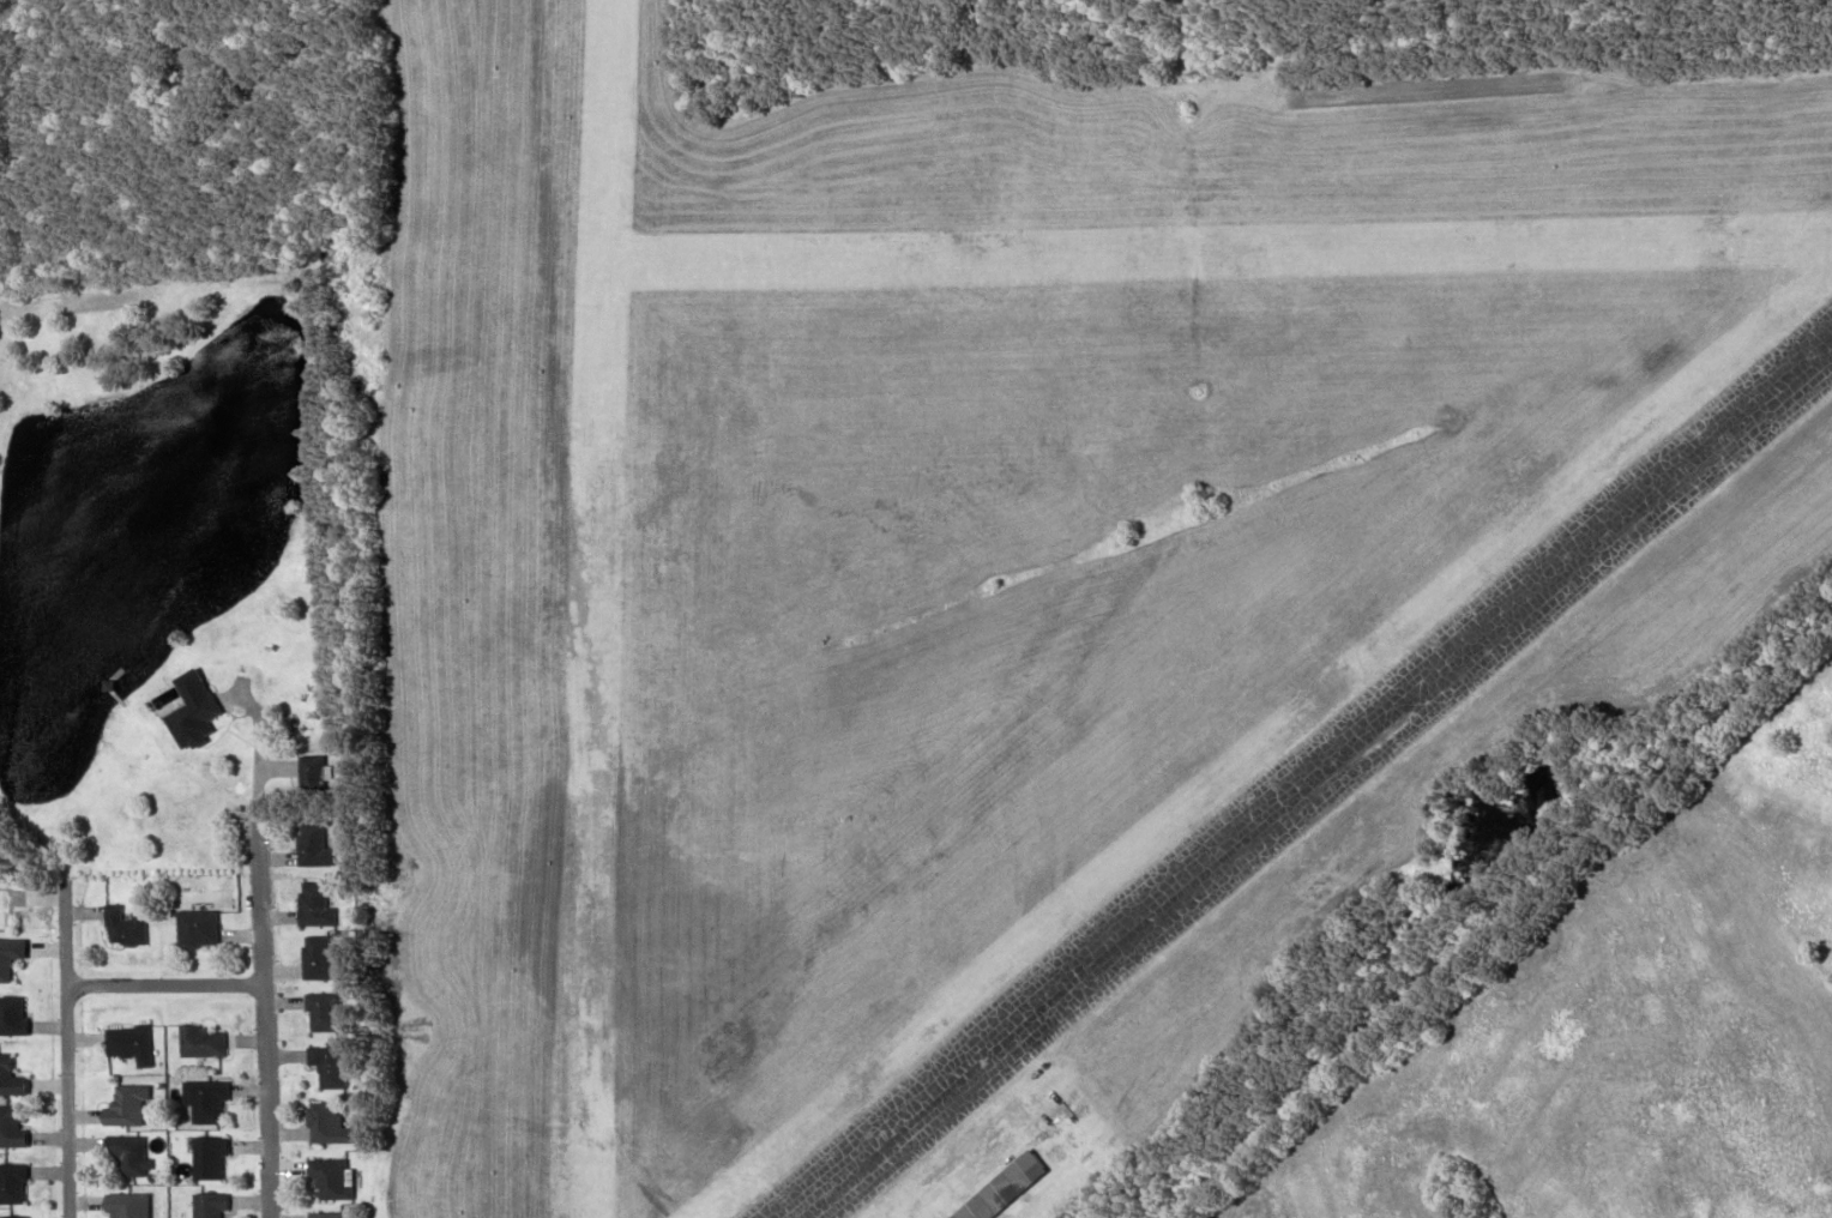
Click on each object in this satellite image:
airport taxiway: (1218, 248)
building: (325, 567)
airport runway: (601, 608)
building: (211, 712)
building: (350, 740)
building: (325, 778)
airport runway: (1312, 778)
building: (327, 844)
building: (329, 905)
building: (16, 906)
building: (140, 927)
building: (213, 927)
building: (332, 957)
building: (16, 958)
road: (173, 984)
building: (333, 1011)
road: (273, 1021)
building: (215, 1039)
building: (141, 1043)
road: (73, 1049)
building: (338, 1065)
building: (17, 1078)
building: (216, 1099)
building: (140, 1105)
building: (338, 1123)
building: (18, 1124)
building: (138, 1153)
building: (218, 1156)
building: (341, 1177)
building: (18, 1182)
building: (1013, 1188)
building: (138, 1204)
building: (218, 1204)
building: (341, 1214)
building: (18, 1216)

